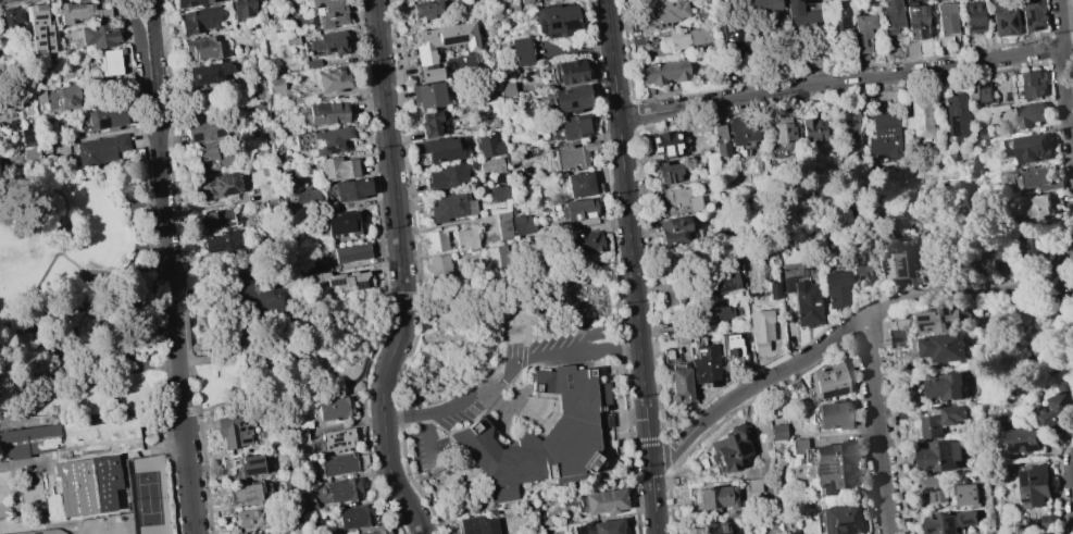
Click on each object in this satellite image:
building: (546, 0)
building: (554, 0)
building: (525, 1)
building: (189, 2)
building: (763, 5)
road: (126, 7)
building: (241, 9)
building: (424, 9)
building: (79, 12)
building: (328, 12)
building: (663, 12)
building: (836, 13)
building: (801, 15)
building: (1032, 15)
building: (11, 16)
building: (972, 16)
building: (890, 17)
building: (557, 18)
building: (946, 18)
building: (1002, 20)
road: (1071, 20)
building: (198, 21)
building: (916, 22)
road: (1061, 24)
rooftop solar panel: (553, 26)
road: (1050, 26)
rooftop solar panel: (569, 27)
building: (38, 28)
rooftop solar panel: (974, 28)
building: (861, 32)
building: (97, 35)
building: (733, 35)
building: (683, 38)
building: (445, 39)
building: (637, 39)
building: (291, 40)
rooftop solar panel: (451, 41)
rooftop solar panel: (858, 41)
building: (329, 42)
rooftop solar panel: (865, 44)
building: (204, 47)
building: (520, 51)
building: (111, 62)
road: (157, 64)
building: (311, 64)
road: (145, 72)
building: (567, 72)
building: (663, 72)
building: (207, 73)
building: (431, 74)
building: (332, 79)
road: (839, 83)
building: (1030, 84)
building: (274, 85)
building: (507, 90)
road: (1068, 92)
building: (980, 94)
building: (428, 95)
building: (64, 97)
building: (571, 99)
building: (326, 113)
building: (1030, 113)
building: (956, 116)
building: (107, 119)
building: (919, 119)
building: (431, 124)
rooftop solar panel: (102, 125)
building: (573, 126)
building: (847, 128)
building: (205, 129)
building: (743, 129)
building: (779, 129)
building: (811, 129)
rooftop solar panel: (220, 133)
building: (884, 135)
rooftop solar panel: (197, 137)
building: (719, 138)
building: (328, 139)
building: (36, 141)
building: (666, 145)
rooftop solar panel: (320, 146)
building: (487, 146)
building: (1032, 148)
building: (101, 149)
building: (440, 150)
building: (572, 154)
building: (212, 156)
rooftop solar panel: (205, 163)
road: (389, 163)
building: (490, 165)
building: (338, 169)
building: (667, 172)
building: (449, 175)
building: (1027, 176)
building: (579, 184)
building: (217, 186)
road: (28, 189)
building: (351, 189)
rooftop solar panel: (227, 191)
building: (266, 191)
building: (498, 193)
building: (308, 196)
road: (145, 201)
building: (677, 201)
road: (126, 203)
road: (163, 203)
building: (1036, 204)
building: (449, 206)
building: (579, 209)
road: (65, 215)
building: (213, 219)
building: (341, 223)
building: (513, 224)
building: (674, 229)
building: (465, 239)
building: (435, 240)
building: (220, 241)
building: (589, 241)
road: (152, 246)
building: (350, 252)
building: (1031, 253)
building: (496, 257)
road: (1070, 259)
road: (72, 261)
building: (437, 265)
building: (898, 265)
road: (631, 266)
road: (112, 269)
building: (932, 272)
building: (862, 274)
rooftop solar panel: (908, 274)
road: (516, 277)
building: (344, 280)
building: (722, 283)
rooftop solar panel: (334, 286)
rooftop solar panel: (861, 287)
rooftop solar panel: (359, 288)
building: (835, 288)
building: (773, 290)
road: (976, 291)
building: (264, 298)
road: (35, 302)
road: (62, 302)
building: (803, 302)
road: (104, 303)
road: (182, 313)
building: (716, 313)
road: (92, 318)
road: (175, 318)
building: (941, 319)
road: (280, 323)
road: (221, 327)
building: (760, 330)
park: (273, 331)
road: (102, 333)
road: (23, 334)
road: (66, 344)
road: (395, 344)
road: (107, 346)
building: (945, 347)
road: (125, 349)
building: (733, 349)
parking lot: (551, 350)
road: (14, 353)
road: (149, 355)
park: (78, 360)
road: (299, 362)
road: (163, 363)
road: (74, 365)
building: (706, 365)
road: (5, 370)
road: (509, 376)
road: (236, 378)
rooftop solar panel: (566, 381)
building: (827, 382)
building: (679, 385)
road: (754, 385)
building: (946, 387)
road: (163, 389)
road: (15, 390)
building: (334, 408)
building: (1059, 408)
road: (201, 410)
parking lot: (454, 410)
building: (831, 415)
building: (1002, 419)
building: (943, 421)
road: (877, 424)
building: (234, 431)
building: (776, 432)
rooftop solar panel: (337, 434)
building: (541, 435)
road: (427, 438)
building: (337, 439)
rooftop solar panel: (337, 439)
building: (1024, 439)
road: (763, 443)
rooftop solar panel: (333, 445)
rooftop solar panel: (339, 445)
road: (186, 446)
parking lot: (425, 446)
building: (731, 447)
road: (385, 451)
rooftop solar panel: (1028, 454)
building: (941, 455)
rooftop solar panel: (740, 457)
building: (77, 459)
building: (826, 463)
building: (337, 464)
building: (241, 467)
rooftop solar panel: (819, 474)
rooftop solar panel: (829, 476)
building: (753, 485)
road: (1060, 485)
building: (1036, 486)
building: (935, 488)
building: (344, 489)
rooftop solar panel: (1031, 489)
building: (244, 494)
park: (147, 495)
building: (968, 495)
building: (716, 497)
building: (603, 501)
road: (771, 502)
building: (251, 517)
building: (355, 517)
building: (838, 519)
building: (1050, 521)
building: (950, 522)
building: (477, 525)
building: (599, 526)
building: (714, 529)
building: (380, 531)
building: (996, 532)
building: (265, 533)
rooftop solar panel: (827, 533)
rooftop solar panel: (969, 533)
building: (1056, 533)

